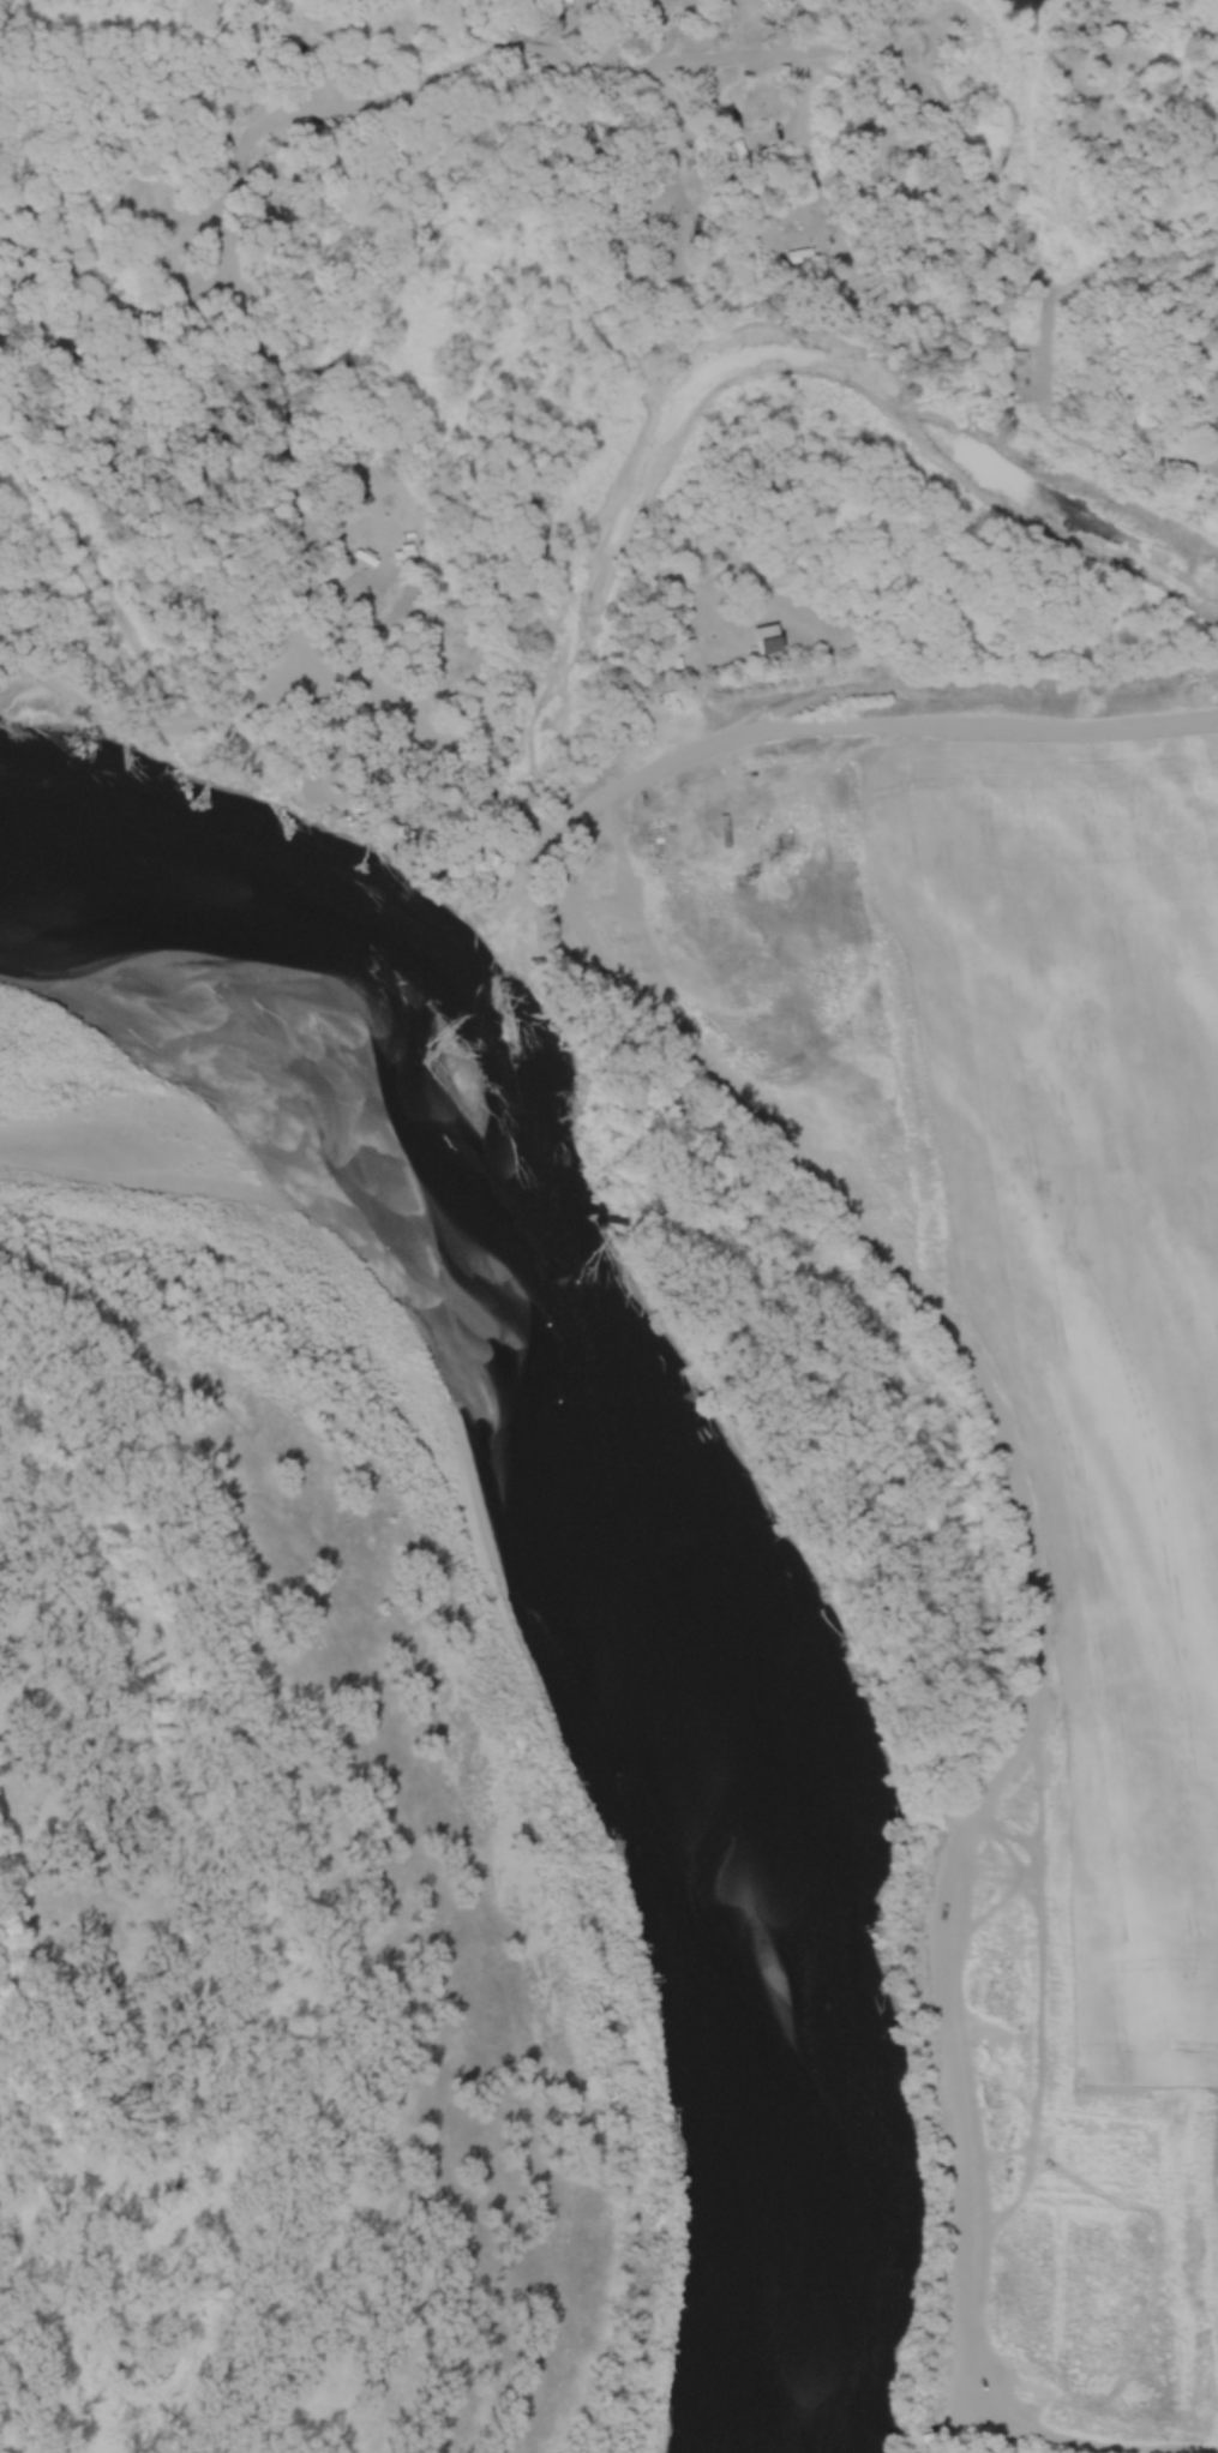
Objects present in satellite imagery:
road: (414, 90)
building: (696, 230)
road: (856, 695)
road: (139, 823)
road: (989, 1438)
river: (697, 1577)

